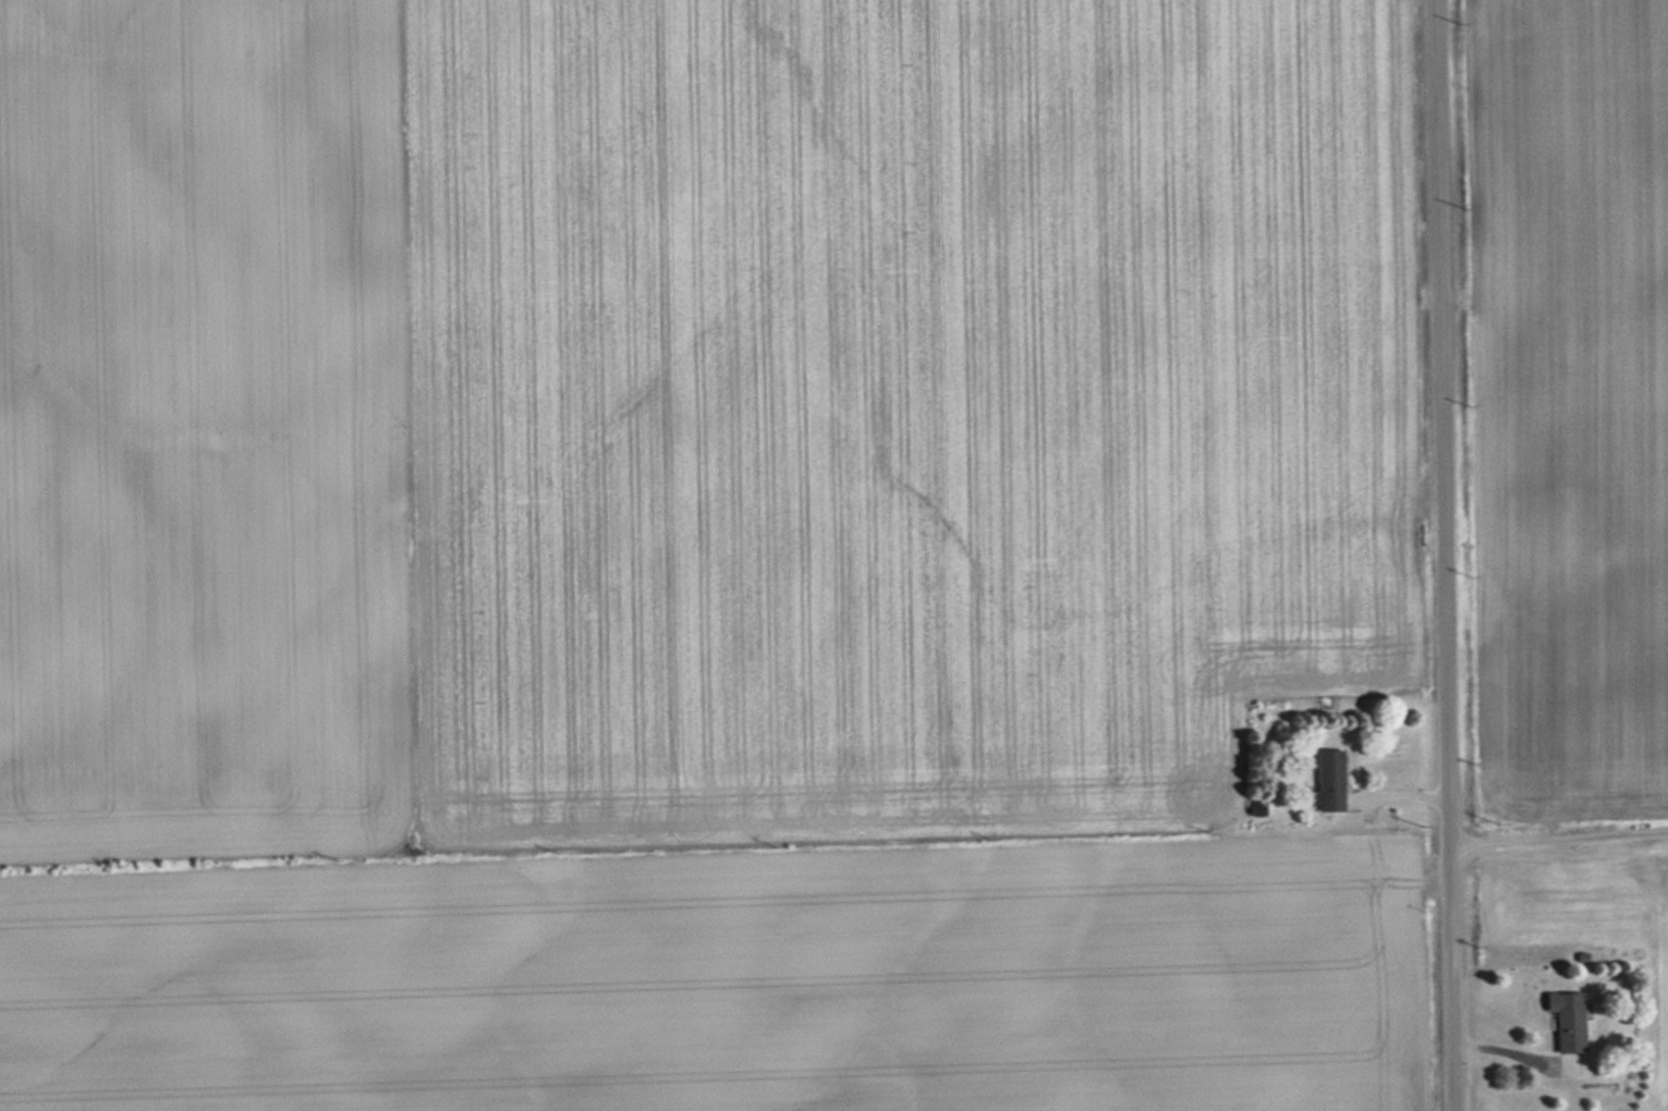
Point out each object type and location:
road: (1439, 555)
building: (1323, 779)
road: (1556, 842)
building: (1562, 1020)

